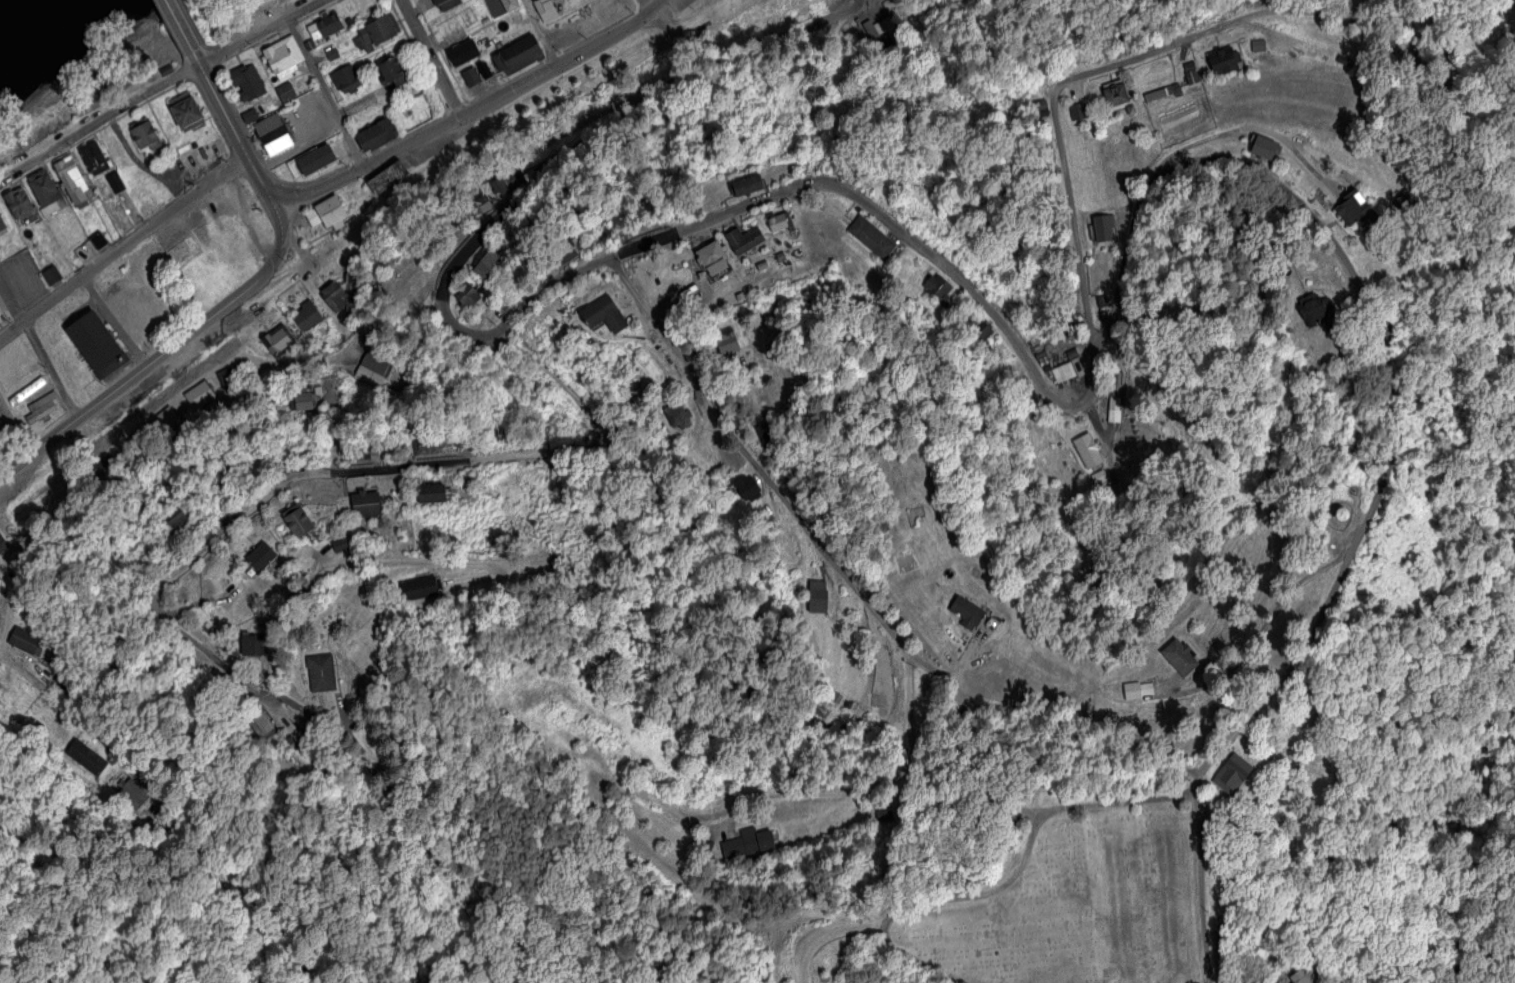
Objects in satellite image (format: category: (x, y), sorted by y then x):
road: (863, 0)
building: (446, 4)
building: (500, 6)
road: (643, 8)
building: (546, 10)
river: (12, 12)
building: (324, 27)
road: (182, 31)
building: (378, 31)
road: (537, 33)
building: (872, 34)
building: (1258, 46)
building: (520, 52)
building: (331, 53)
building: (464, 53)
building: (282, 57)
road: (428, 59)
building: (1342, 60)
road: (1122, 61)
building: (1223, 63)
building: (483, 68)
building: (392, 72)
building: (470, 75)
building: (1191, 77)
building: (345, 80)
building: (1151, 81)
road: (157, 83)
building: (246, 83)
building: (815, 91)
building: (1163, 91)
building: (285, 92)
road: (322, 94)
road: (646, 94)
building: (1117, 96)
building: (1041, 103)
road: (482, 104)
building: (1076, 110)
building: (187, 113)
building: (250, 115)
building: (144, 134)
building: (273, 134)
building: (763, 135)
building: (376, 136)
road: (237, 140)
building: (1264, 149)
building: (95, 159)
building: (834, 167)
building: (527, 176)
building: (386, 178)
building: (72, 181)
building: (115, 182)
building: (504, 184)
building: (748, 185)
building: (43, 189)
road: (790, 190)
building: (145, 191)
building: (19, 204)
building: (482, 205)
building: (1358, 212)
building: (328, 217)
building: (777, 223)
building: (2, 224)
building: (1102, 228)
building: (871, 238)
building: (98, 240)
building: (744, 240)
road: (123, 248)
building: (565, 251)
building: (708, 253)
building: (780, 257)
building: (488, 266)
building: (758, 269)
building: (50, 276)
building: (941, 289)
building: (421, 290)
building: (333, 296)
building: (350, 296)
building: (740, 296)
building: (468, 298)
building: (1314, 310)
building: (604, 314)
building: (306, 316)
building: (977, 330)
building: (276, 340)
building: (726, 340)
building: (94, 341)
road: (38, 349)
road: (164, 351)
road: (308, 362)
building: (370, 369)
building: (1066, 371)
building: (228, 372)
road: (1404, 382)
building: (26, 391)
building: (1114, 395)
building: (197, 400)
building: (302, 400)
building: (40, 408)
building: (676, 414)
building: (502, 440)
building: (425, 446)
building: (1086, 450)
building: (362, 451)
road: (394, 464)
building: (746, 486)
building: (430, 493)
building: (365, 504)
building: (176, 522)
building: (298, 523)
building: (339, 543)
building: (260, 557)
road: (830, 559)
building: (2, 563)
road: (338, 567)
building: (419, 586)
building: (816, 595)
building: (966, 611)
building: (25, 640)
building: (253, 644)
building: (1179, 655)
building: (320, 671)
building: (1131, 689)
road: (56, 701)
building: (259, 722)
building: (85, 756)
building: (1231, 772)
building: (132, 792)
building: (747, 842)
road: (679, 881)
road: (1000, 890)
park: (1081, 908)
building: (1298, 977)

